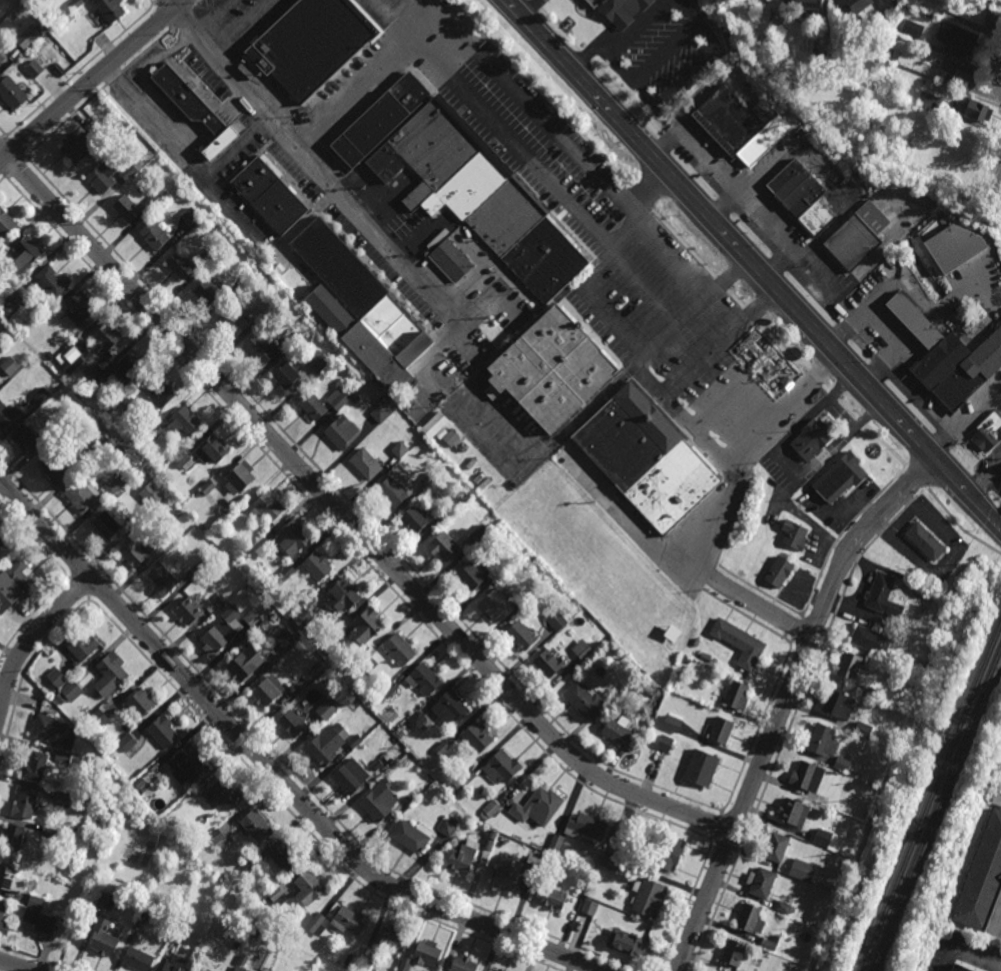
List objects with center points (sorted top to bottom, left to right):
building: (967, 2)
road: (172, 3)
building: (76, 4)
building: (809, 4)
building: (892, 4)
building: (21, 7)
building: (853, 7)
building: (111, 9)
building: (777, 9)
road: (530, 10)
building: (620, 10)
road: (212, 15)
building: (883, 21)
building: (993, 21)
building: (63, 24)
road: (242, 26)
building: (916, 33)
building: (29, 34)
building: (959, 39)
road: (620, 41)
building: (311, 43)
building: (822, 47)
building: (896, 55)
building: (2, 56)
building: (34, 68)
building: (962, 70)
road: (995, 75)
road: (368, 79)
road: (91, 80)
road: (682, 83)
road: (149, 88)
building: (11, 92)
building: (930, 100)
road: (234, 104)
building: (195, 107)
building: (974, 109)
building: (381, 118)
road: (214, 121)
building: (742, 124)
building: (920, 127)
building: (963, 135)
building: (916, 140)
road: (168, 144)
road: (571, 146)
building: (77, 147)
road: (236, 150)
road: (522, 163)
road: (312, 165)
building: (955, 167)
building: (129, 171)
building: (103, 175)
road: (646, 189)
building: (269, 195)
building: (802, 196)
building: (480, 197)
building: (154, 200)
road: (722, 204)
building: (127, 207)
road: (759, 214)
building: (191, 216)
building: (7, 221)
building: (154, 234)
building: (857, 235)
building: (955, 246)
building: (27, 253)
building: (209, 255)
building: (451, 261)
building: (180, 264)
road: (751, 264)
road: (781, 266)
building: (241, 279)
building: (53, 281)
road: (587, 287)
building: (208, 290)
building: (268, 305)
building: (10, 307)
building: (82, 307)
building: (361, 308)
building: (974, 316)
building: (235, 318)
road: (764, 335)
building: (293, 338)
building: (101, 340)
road: (721, 345)
road: (655, 346)
building: (768, 348)
building: (260, 349)
road: (440, 353)
building: (50, 355)
building: (950, 357)
building: (319, 360)
building: (66, 361)
building: (11, 365)
building: (131, 367)
building: (551, 369)
building: (286, 375)
building: (98, 380)
road: (735, 389)
building: (160, 392)
building: (341, 398)
building: (129, 402)
building: (313, 405)
building: (383, 409)
road: (781, 409)
building: (8, 414)
road: (679, 414)
road: (966, 419)
building: (186, 421)
building: (157, 431)
building: (341, 431)
building: (444, 431)
building: (813, 437)
building: (985, 439)
building: (29, 440)
building: (99, 440)
building: (212, 449)
road: (515, 449)
building: (401, 450)
building: (648, 458)
building: (181, 459)
building: (366, 464)
road: (789, 464)
building: (56, 467)
building: (240, 476)
building: (840, 477)
building: (429, 479)
building: (117, 484)
building: (207, 488)
building: (392, 492)
building: (83, 495)
building: (151, 495)
building: (267, 507)
building: (449, 511)
road: (802, 516)
building: (137, 518)
building: (183, 518)
road: (346, 518)
building: (415, 519)
building: (108, 525)
building: (794, 534)
building: (294, 538)
building: (481, 539)
building: (926, 541)
building: (261, 545)
building: (444, 547)
road: (661, 547)
building: (3, 548)
road: (821, 549)
building: (133, 553)
building: (530, 559)
power tower: (976, 565)
building: (318, 566)
building: (504, 567)
road: (696, 567)
building: (196, 571)
building: (779, 572)
building: (287, 573)
building: (917, 573)
building: (473, 575)
building: (164, 578)
building: (18, 582)
building: (883, 594)
building: (344, 595)
building: (222, 598)
building: (497, 605)
building: (190, 609)
road: (762, 609)
building: (274, 616)
building: (302, 617)
building: (557, 620)
building: (368, 624)
building: (235, 627)
building: (934, 627)
building: (521, 634)
road: (33, 636)
building: (285, 636)
building: (870, 639)
building: (740, 641)
building: (83, 643)
building: (331, 643)
building: (401, 648)
building: (583, 648)
building: (687, 659)
building: (246, 662)
building: (368, 662)
building: (549, 663)
building: (849, 664)
building: (318, 666)
building: (112, 672)
building: (58, 677)
building: (424, 678)
building: (871, 688)
building: (389, 689)
building: (72, 690)
building: (268, 690)
building: (737, 694)
building: (586, 700)
building: (141, 701)
road: (786, 702)
building: (839, 704)
building: (449, 706)
building: (326, 710)
building: (100, 718)
building: (419, 719)
building: (293, 722)
building: (673, 723)
building: (51, 728)
building: (720, 729)
building: (164, 730)
building: (863, 730)
building: (620, 732)
building: (848, 733)
building: (478, 737)
building: (823, 739)
building: (129, 742)
building: (665, 742)
building: (330, 743)
building: (443, 747)
building: (63, 755)
building: (187, 763)
building: (842, 763)
building: (36, 766)
road: (268, 767)
building: (502, 767)
building: (702, 767)
building: (383, 769)
building: (808, 775)
building: (351, 776)
building: (468, 778)
building: (141, 782)
building: (224, 794)
building: (411, 796)
railway: (930, 796)
building: (63, 798)
building: (26, 802)
power tower: (880, 802)
building: (381, 803)
building: (538, 806)
railway: (935, 809)
building: (490, 810)
building: (792, 811)
building: (257, 824)
building: (586, 825)
building: (450, 826)
building: (49, 833)
building: (494, 834)
building: (14, 835)
building: (412, 835)
building: (215, 836)
building: (823, 836)
building: (620, 840)
building: (555, 842)
building: (490, 844)
building: (777, 846)
building: (792, 849)
building: (667, 851)
building: (284, 855)
building: (465, 856)
building: (611, 860)
building: (483, 862)
building: (250, 866)
building: (531, 867)
building: (803, 869)
building: (507, 872)
building: (11, 879)
building: (982, 879)
building: (584, 882)
building: (761, 882)
building: (309, 886)
building: (648, 896)
building: (277, 897)
building: (554, 897)
building: (108, 901)
building: (589, 906)
building: (785, 908)
building: (2, 912)
building: (39, 915)
building: (145, 917)
building: (751, 918)
building: (350, 920)
building: (317, 924)
building: (255, 933)
building: (177, 934)
building: (105, 937)
building: (393, 938)
building: (770, 943)
building: (236, 944)
building: (636, 947)
building: (733, 953)
building: (423, 955)
road: (966, 956)
building: (139, 959)
building: (243, 960)
building: (353, 960)
building: (465, 964)
building: (366, 965)
road: (13, 966)
building: (173, 968)
building: (961, 968)
building: (240, 969)
building: (498, 969)
building: (494, 970)

